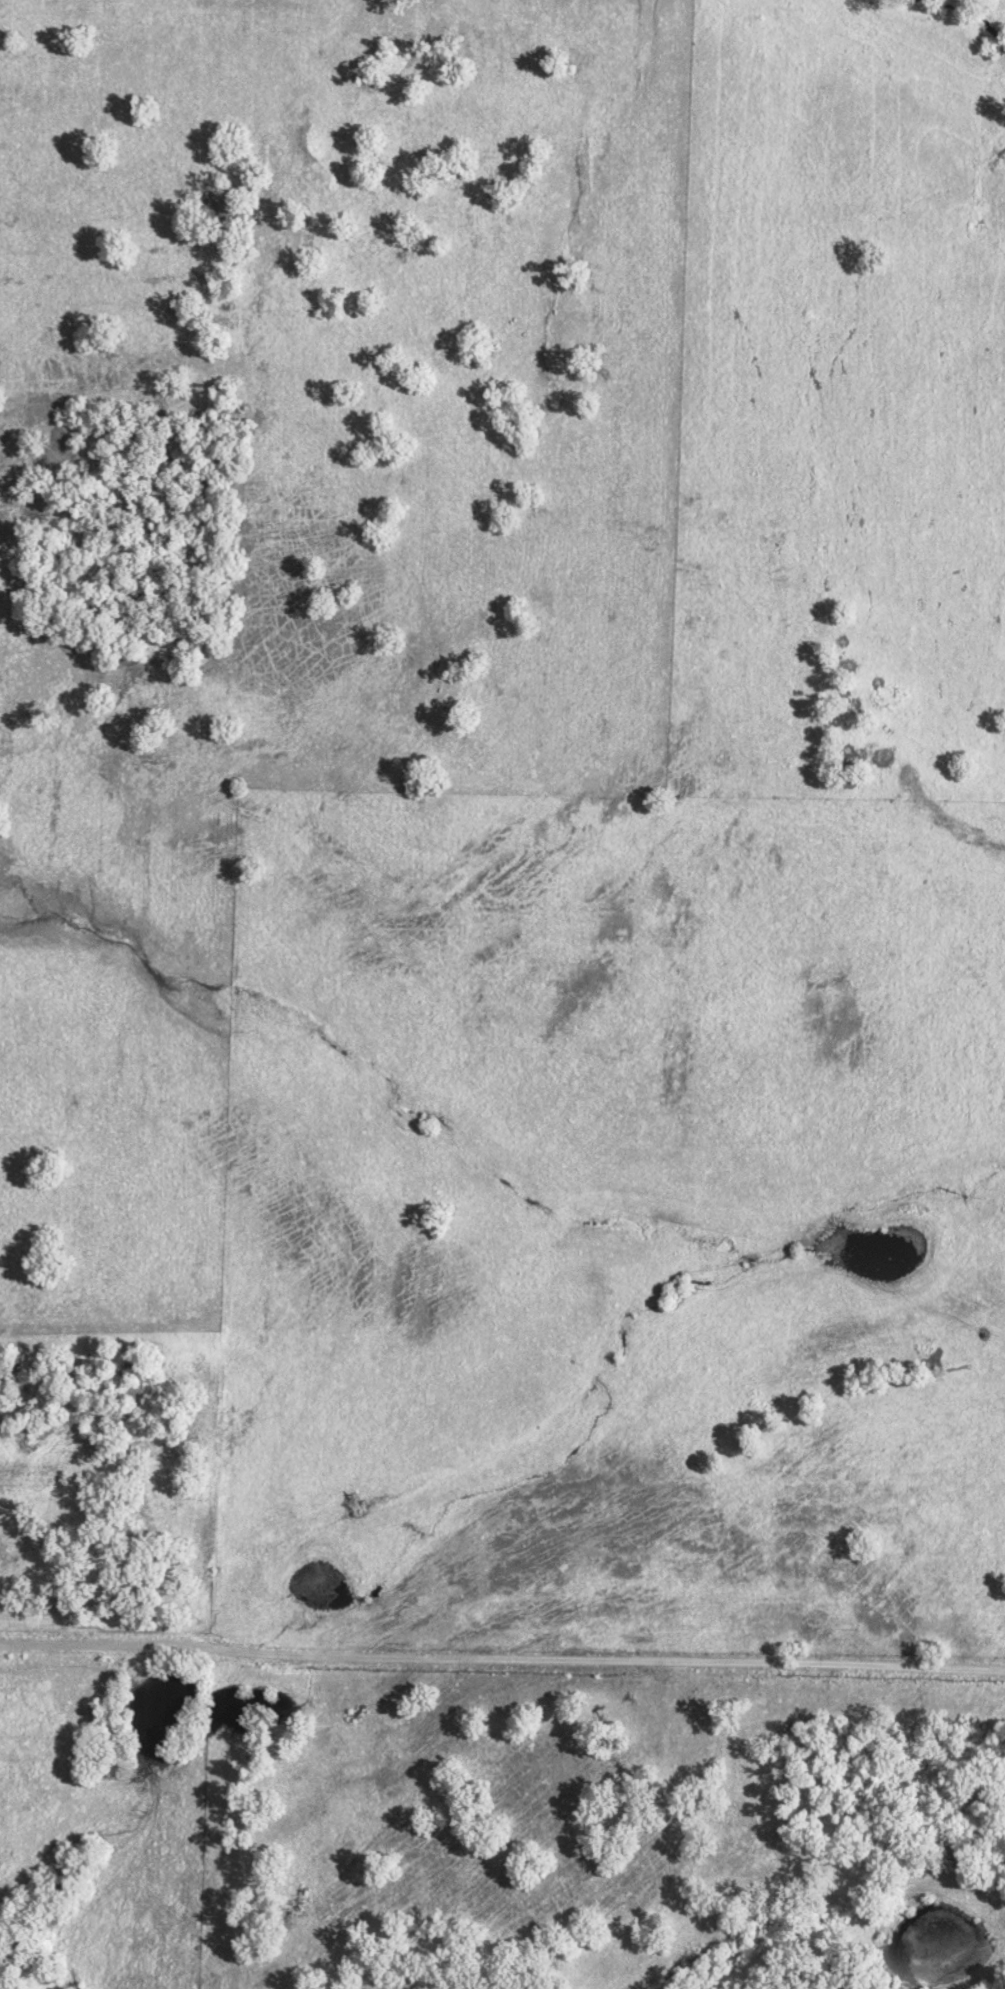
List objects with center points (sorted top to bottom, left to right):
road: (502, 1657)

